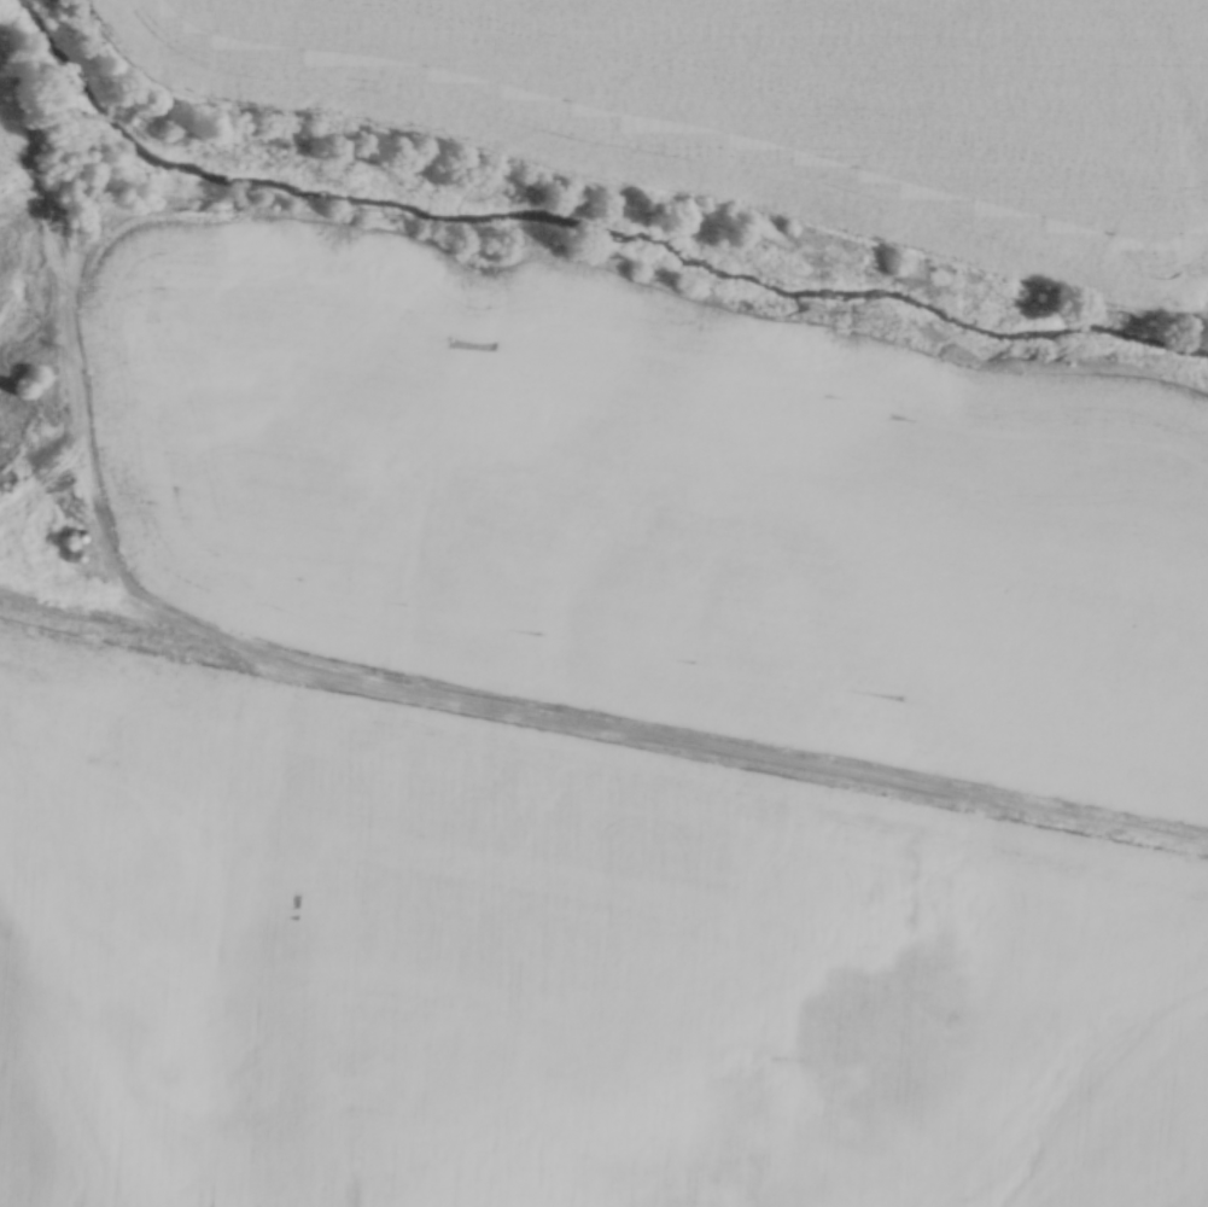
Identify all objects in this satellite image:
road: (543, 712)

